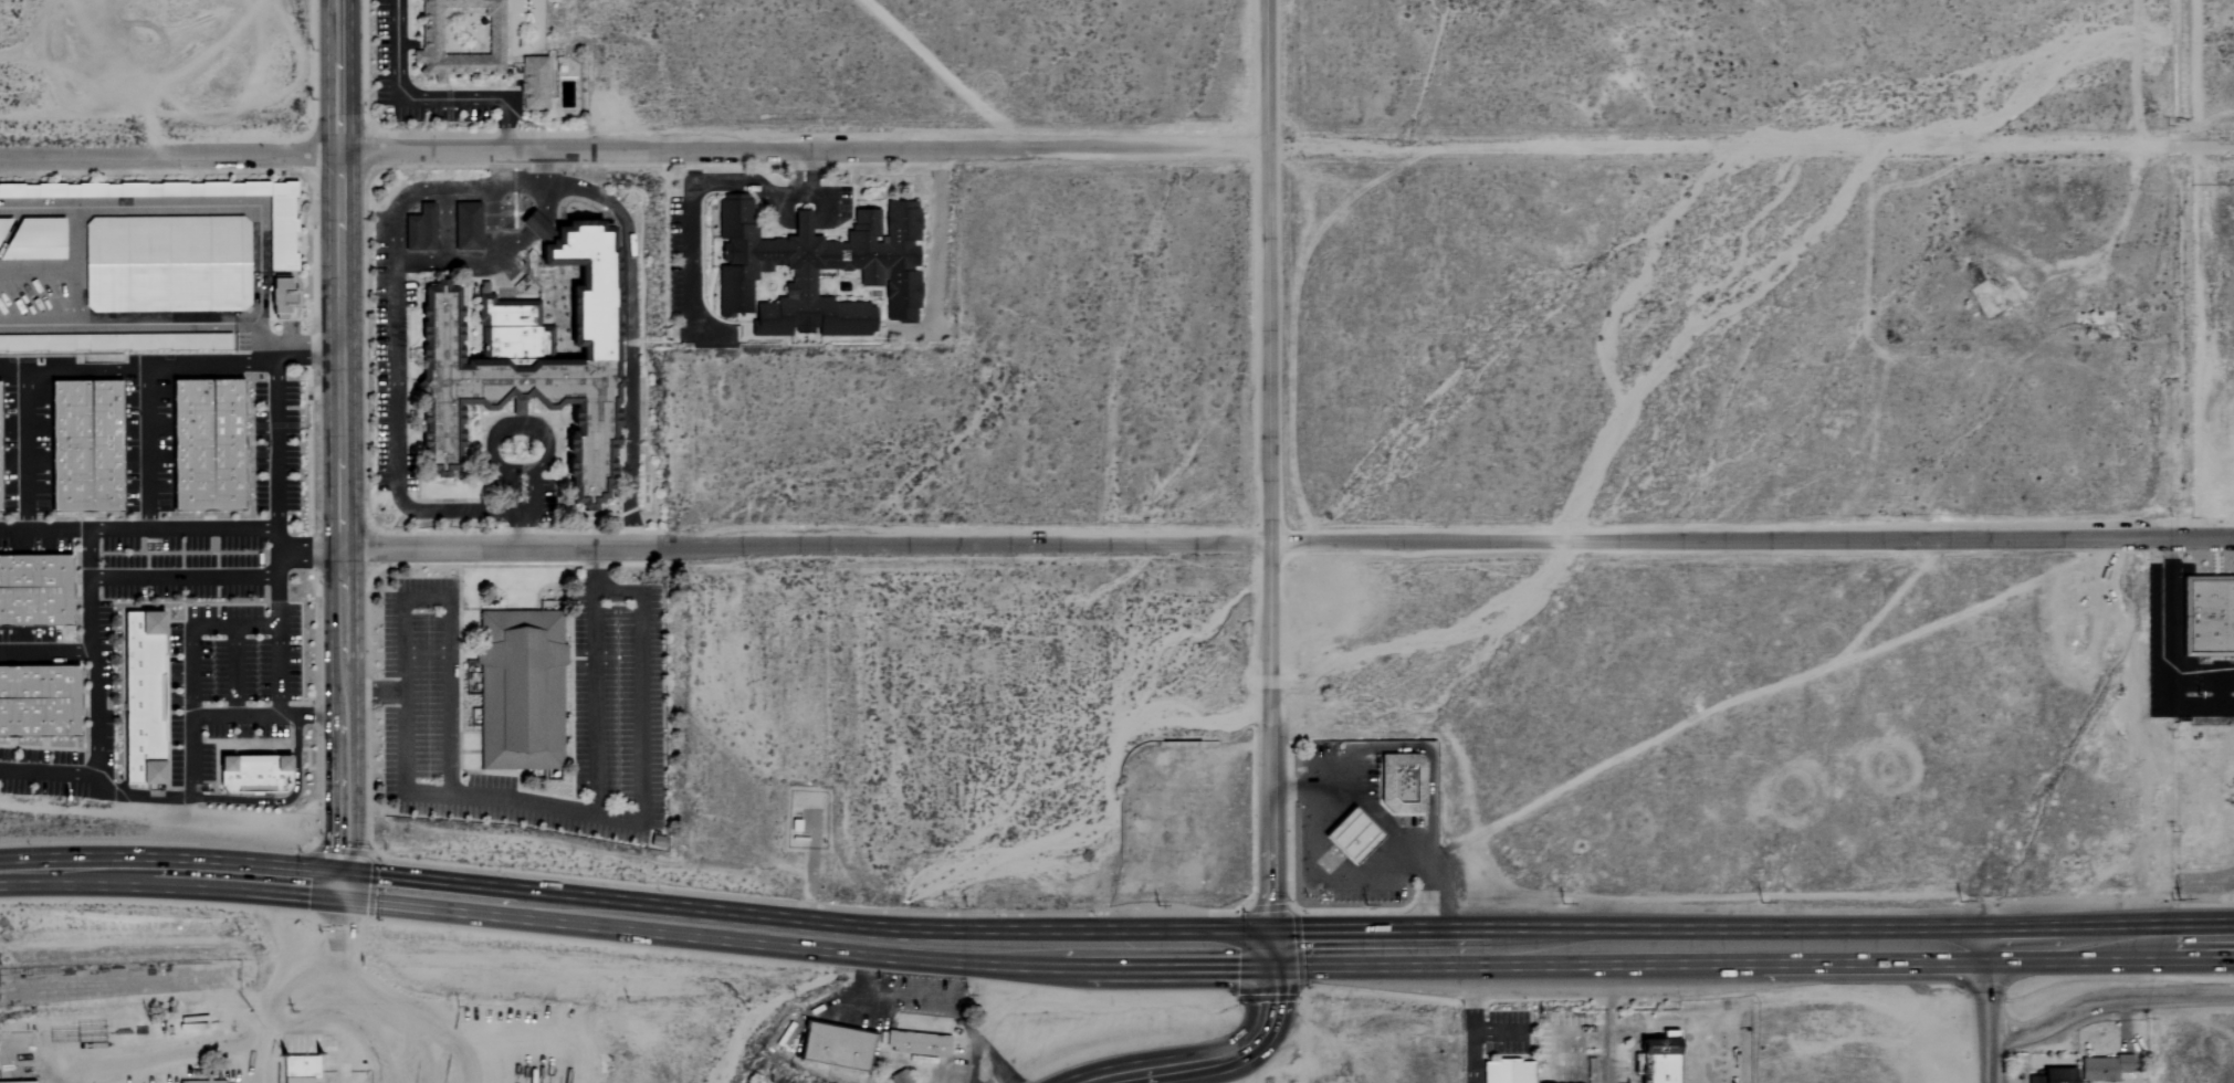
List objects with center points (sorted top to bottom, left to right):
building: (458, 39)
road: (342, 75)
building: (532, 83)
road: (427, 99)
road: (1116, 145)
road: (525, 182)
road: (700, 185)
road: (189, 204)
building: (4, 225)
building: (283, 225)
building: (36, 240)
road: (474, 262)
building: (167, 263)
building: (818, 263)
road: (71, 265)
building: (282, 295)
road: (128, 324)
road: (631, 334)
building: (114, 341)
road: (296, 344)
road: (344, 348)
road: (72, 368)
building: (518, 369)
road: (394, 372)
road: (144, 383)
road: (522, 422)
building: (206, 444)
building: (85, 445)
road: (27, 450)
road: (277, 475)
road: (1269, 476)
road: (506, 485)
road: (525, 486)
road: (511, 504)
road: (520, 504)
road: (139, 530)
road: (1288, 540)
road: (88, 555)
road: (88, 585)
building: (35, 591)
building: (2207, 614)
road: (447, 630)
road: (2173, 648)
road: (46, 652)
road: (281, 656)
road: (190, 665)
road: (230, 667)
building: (520, 693)
building: (143, 697)
building: (39, 702)
road: (638, 708)
road: (235, 714)
road: (333, 715)
road: (353, 716)
building: (253, 774)
road: (50, 778)
building: (1403, 784)
road: (237, 800)
road: (557, 808)
road: (1391, 833)
gas station: (1353, 834)
building: (1350, 837)
road: (2205, 877)
traffic signals: (344, 889)
road: (636, 918)
road: (1753, 950)
traffic signals: (1273, 953)
road: (931, 998)
road: (2110, 1001)
road: (321, 1002)
road: (1992, 1016)
road: (1468, 1017)
road: (1608, 1017)
road: (422, 1029)
road: (1493, 1033)
building: (915, 1043)
building: (832, 1045)
road: (1220, 1059)
building: (2102, 1068)
building: (297, 1070)
building: (1506, 1071)
building: (2053, 1076)
building: (896, 1077)
building: (198, 1081)

